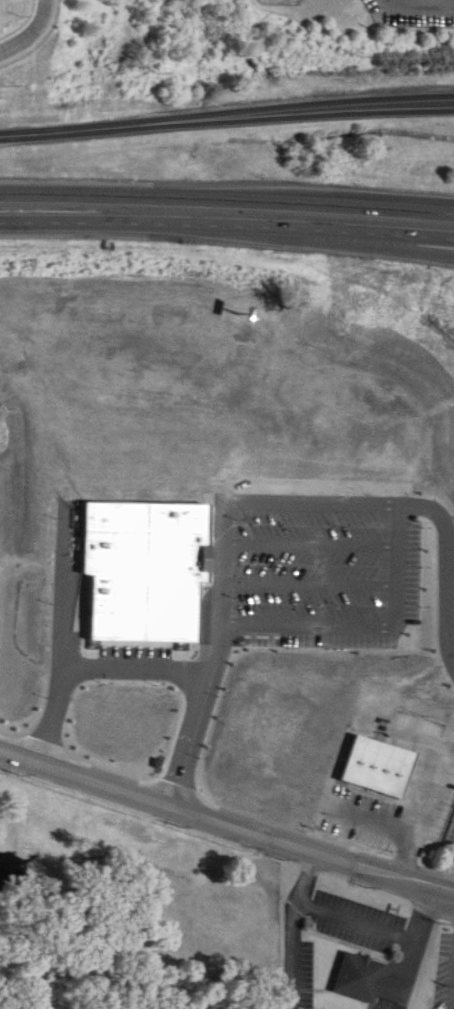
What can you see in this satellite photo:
road: (28, 28)
road: (226, 105)
road: (227, 196)
road: (227, 230)
road: (380, 245)
road: (398, 577)
road: (157, 671)
building: (372, 753)
road: (426, 803)
road: (226, 814)
road: (362, 915)
building: (370, 983)

